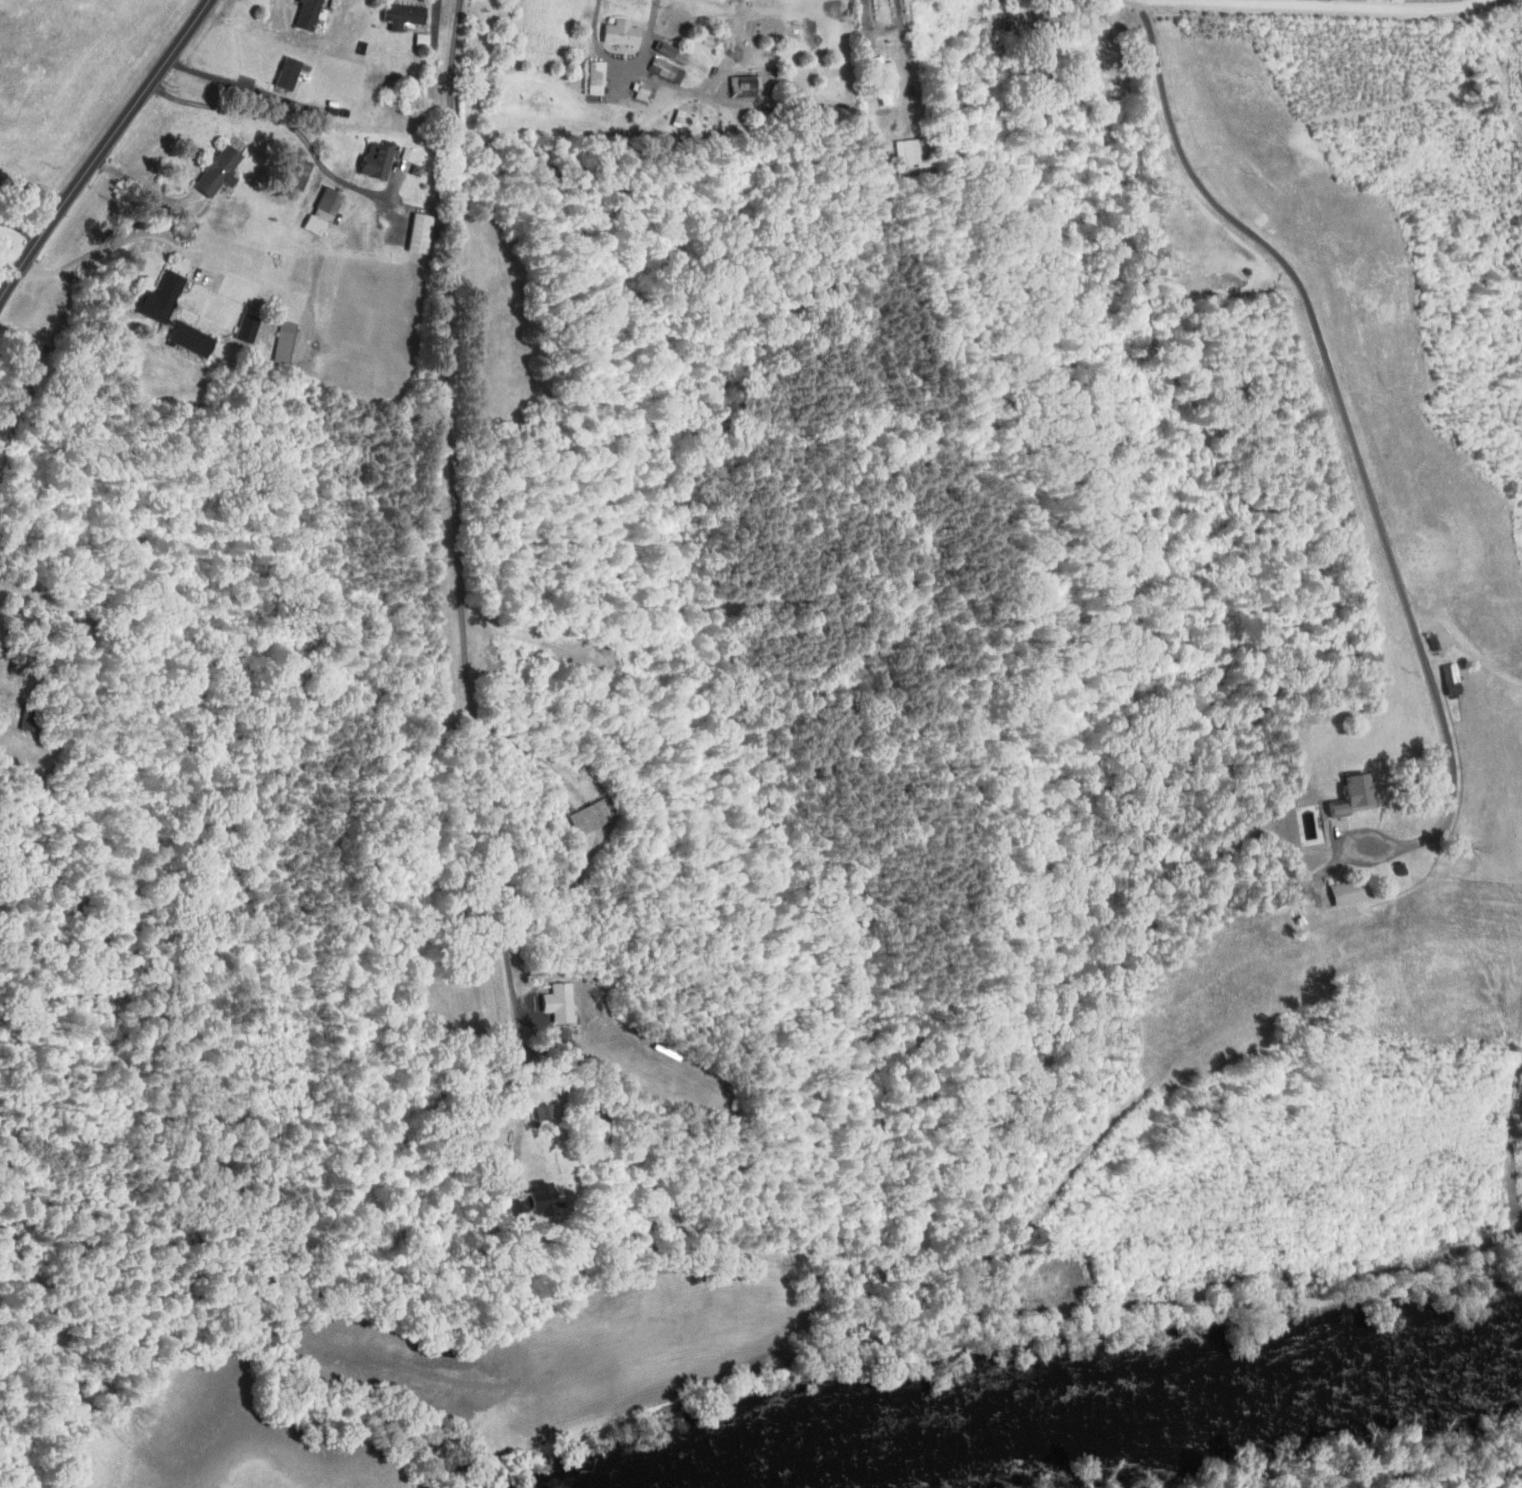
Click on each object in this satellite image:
road: (1325, 3)
building: (303, 13)
building: (399, 13)
road: (437, 21)
building: (617, 31)
road: (870, 34)
road: (736, 35)
road: (625, 64)
building: (662, 68)
building: (284, 72)
building: (590, 76)
building: (880, 76)
building: (742, 81)
road: (228, 82)
building: (637, 89)
road: (768, 98)
road: (296, 127)
road: (103, 150)
building: (906, 151)
building: (371, 158)
building: (214, 169)
building: (296, 172)
road: (147, 187)
road: (34, 190)
building: (319, 208)
road: (21, 229)
building: (413, 231)
road: (185, 247)
building: (154, 296)
building: (185, 337)
building: (280, 341)
road: (1347, 417)
road: (456, 526)
building: (1446, 678)
road: (3, 681)
building: (1345, 795)
building: (585, 816)
building: (1341, 892)
building: (555, 1001)
building: (538, 1111)
road: (524, 1115)
building: (535, 1196)
river: (1097, 1405)

